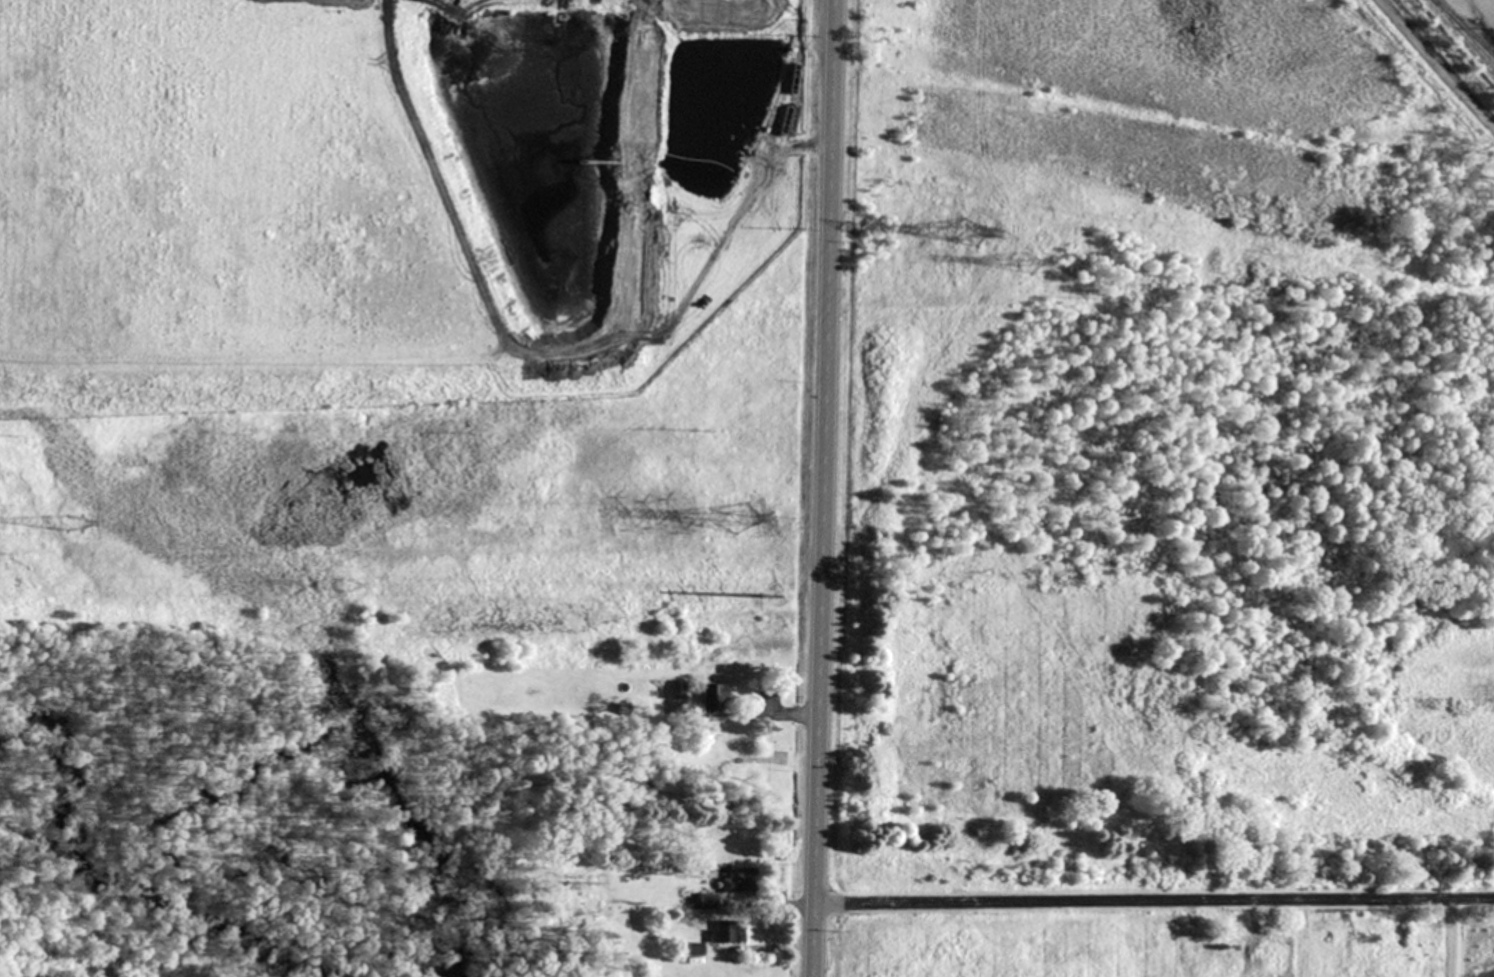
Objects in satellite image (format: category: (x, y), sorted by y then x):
railway: (1478, 22)
railway: (1463, 29)
railway: (1462, 35)
power tower: (981, 236)
power tower: (1029, 261)
power plant: (762, 462)
road: (825, 488)
power tower: (738, 522)
power tower: (75, 524)
power tower: (769, 581)
power tower: (348, 585)
building: (675, 689)
building: (715, 697)
building: (740, 881)
building: (708, 901)
road: (1154, 902)
building: (725, 931)

